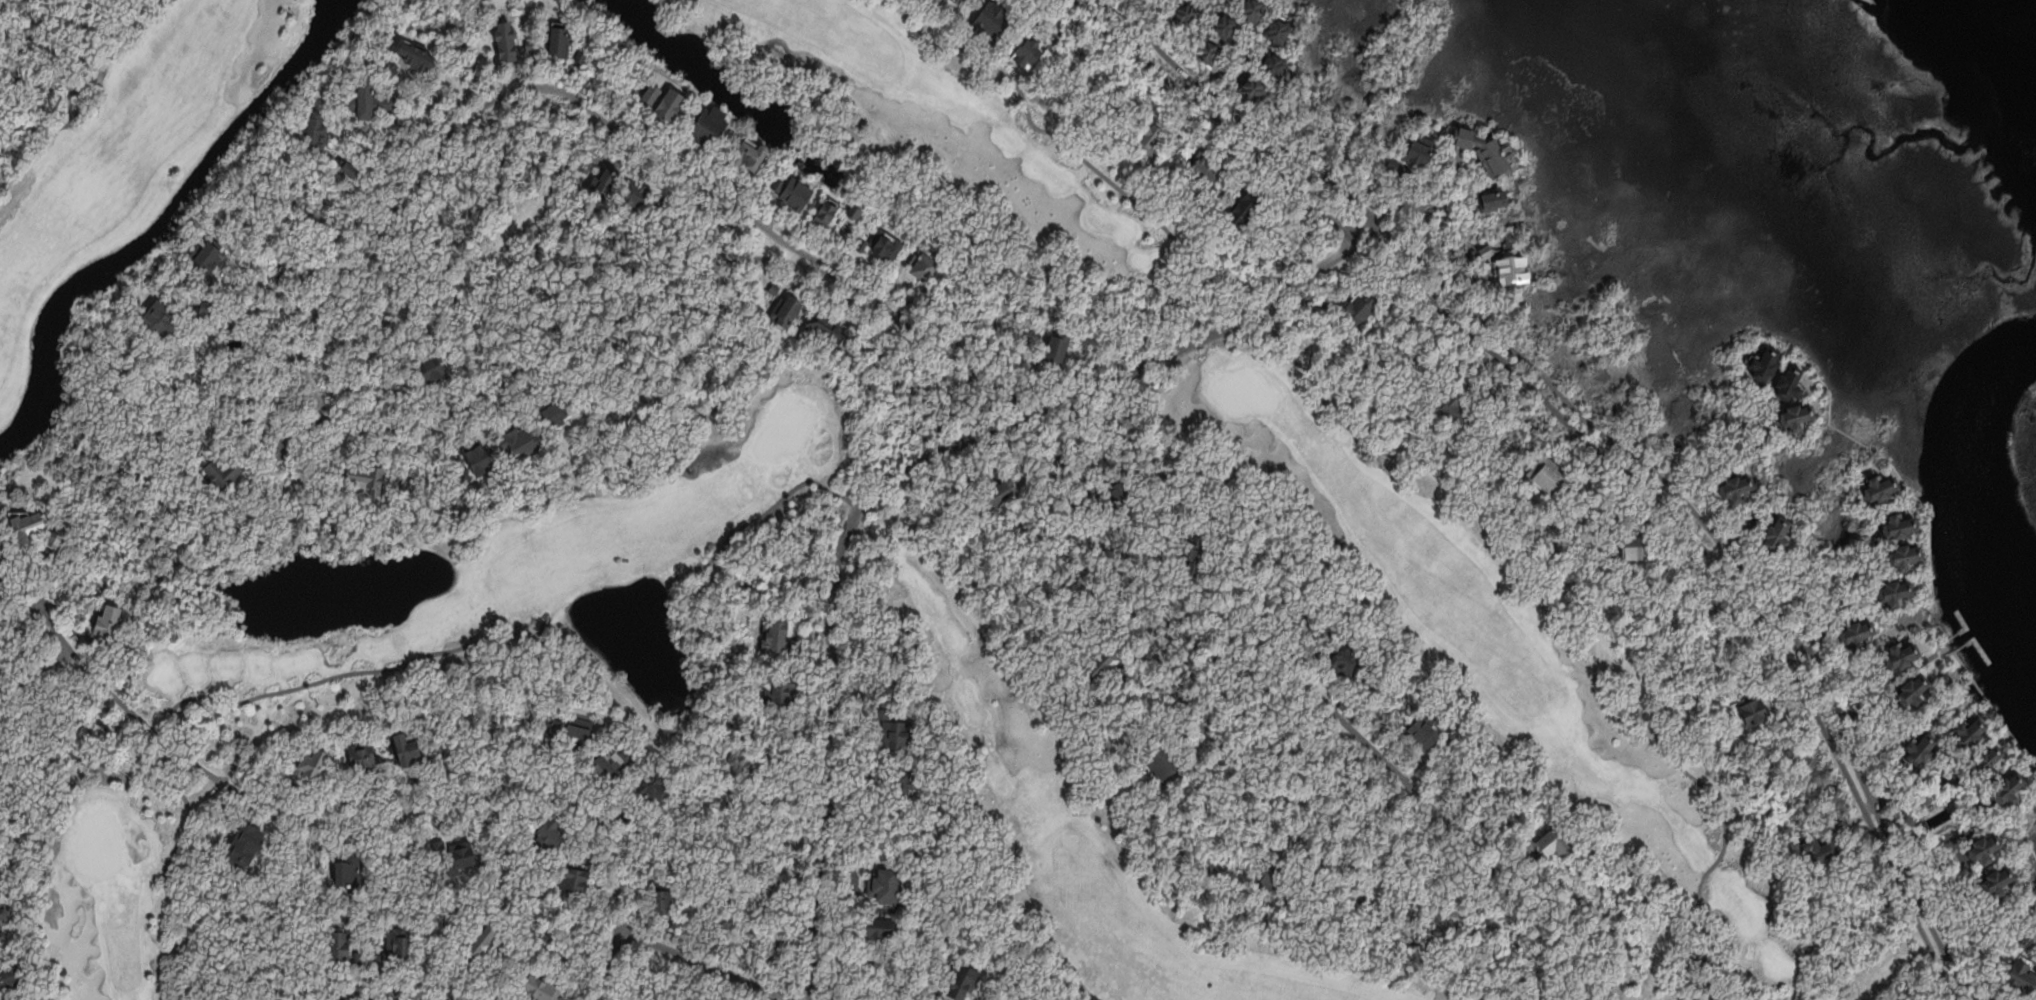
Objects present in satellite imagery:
building: (958, 0)
building: (1207, 0)
building: (941, 1)
building: (944, 1)
building: (1253, 11)
building: (1186, 14)
road: (1134, 23)
building: (1225, 26)
building: (1281, 30)
building: (505, 39)
building: (558, 43)
building: (531, 45)
building: (415, 52)
building: (1028, 53)
building: (1208, 54)
building: (579, 57)
building: (1275, 64)
building: (390, 67)
road: (1221, 85)
building: (1253, 91)
building: (650, 93)
building: (368, 101)
building: (668, 105)
building: (708, 128)
building: (314, 135)
building: (1150, 139)
building: (1490, 153)
building: (1414, 154)
building: (748, 155)
building: (1336, 156)
road: (427, 162)
building: (347, 168)
building: (1204, 170)
building: (639, 201)
building: (1491, 201)
building: (1245, 205)
building: (825, 212)
building: (854, 212)
road: (1444, 214)
road: (698, 221)
building: (884, 243)
building: (860, 244)
building: (1486, 251)
road: (771, 258)
building: (925, 267)
building: (1514, 268)
building: (773, 287)
building: (1360, 308)
building: (203, 309)
building: (785, 311)
building: (158, 318)
building: (822, 329)
building: (1056, 348)
building: (1031, 363)
building: (1766, 365)
building: (432, 371)
building: (1793, 383)
building: (1449, 402)
building: (554, 411)
building: (1797, 417)
building: (1129, 422)
road: (306, 432)
road: (1584, 435)
road: (1612, 438)
building: (520, 443)
road: (1892, 462)
road: (899, 471)
building: (218, 472)
building: (1546, 476)
building: (365, 480)
building: (1737, 489)
building: (1880, 489)
building: (1115, 490)
building: (998, 491)
road: (1766, 507)
building: (1901, 526)
building: (23, 527)
building: (1779, 535)
building: (0, 536)
building: (54, 539)
building: (1631, 546)
building: (1191, 556)
building: (1906, 560)
building: (1899, 593)
building: (106, 623)
building: (1858, 632)
building: (781, 636)
building: (1903, 656)
building: (1346, 661)
building: (1099, 668)
building: (1126, 669)
road: (34, 674)
building: (780, 691)
building: (1914, 691)
road: (1994, 709)
building: (1750, 712)
building: (555, 724)
building: (579, 727)
building: (1424, 731)
building: (894, 732)
building: (1972, 733)
building: (1923, 749)
building: (405, 750)
building: (360, 754)
building: (1990, 758)
building: (619, 761)
building: (1162, 761)
building: (310, 766)
building: (897, 782)
building: (652, 788)
building: (2009, 789)
road: (389, 817)
building: (1833, 827)
building: (547, 835)
road: (2024, 836)
building: (1557, 840)
building: (1524, 844)
building: (1989, 849)
building: (1822, 851)
building: (346, 872)
building: (1269, 877)
building: (575, 881)
building: (2000, 882)
road: (1399, 884)
building: (885, 888)
road: (2032, 900)
building: (664, 905)
building: (3, 918)
building: (879, 927)
building: (486, 940)
building: (398, 944)
building: (342, 945)
building: (379, 957)
road: (706, 966)
building: (10, 975)
building: (2021, 976)
building: (962, 980)
building: (541, 986)
road: (394, 991)
road: (320, 994)

